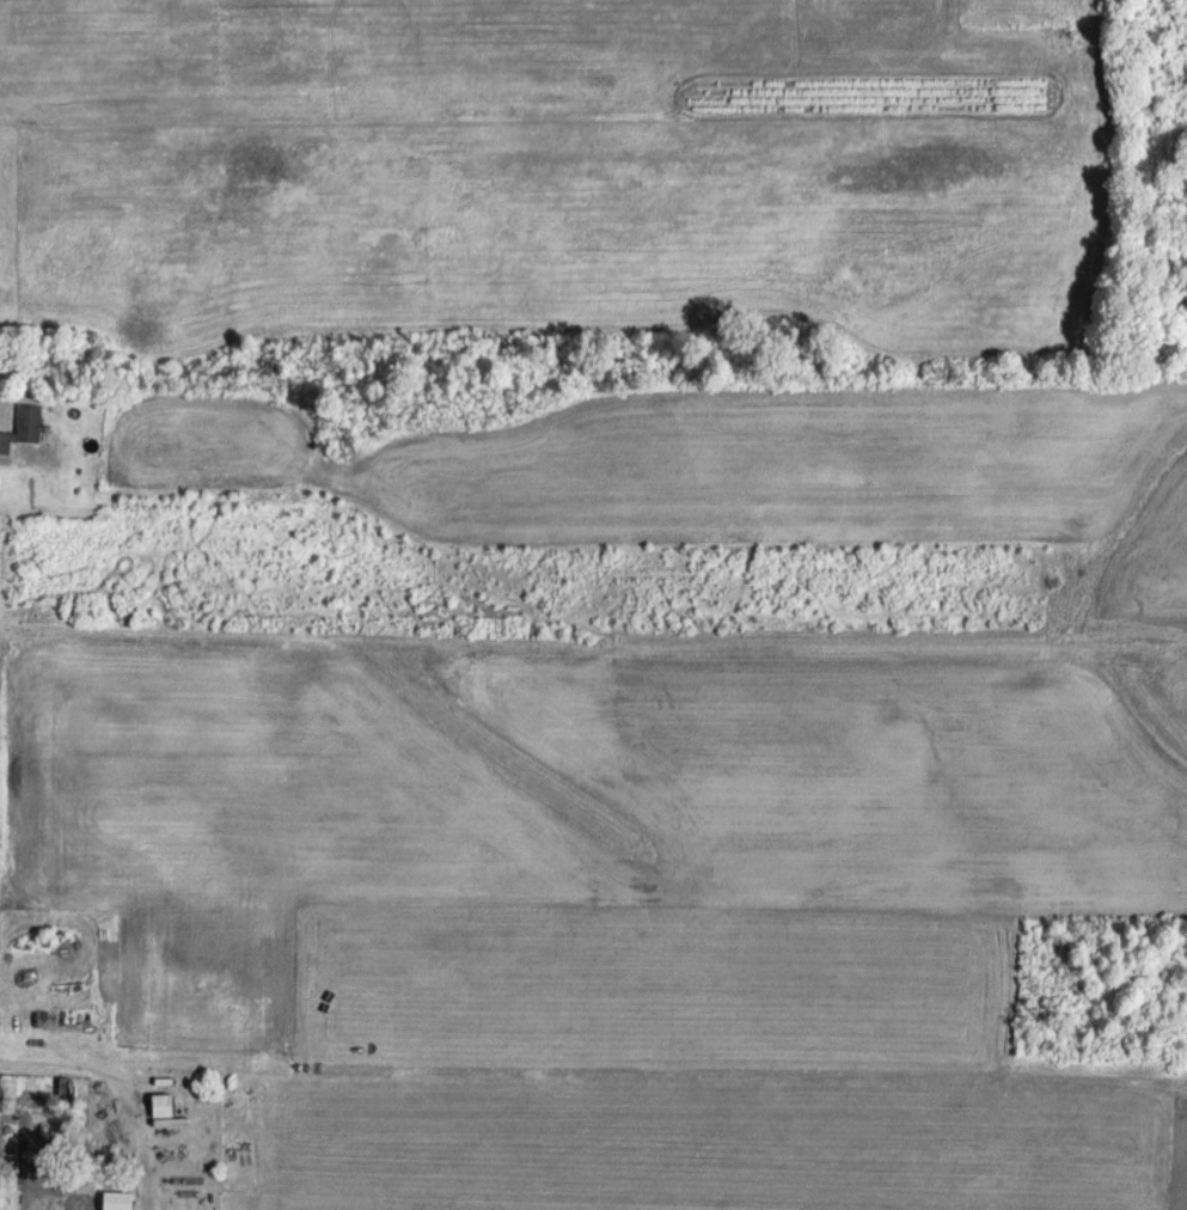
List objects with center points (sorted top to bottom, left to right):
building: (23, 427)
road: (54, 1067)
building: (159, 1104)
building: (115, 1199)

